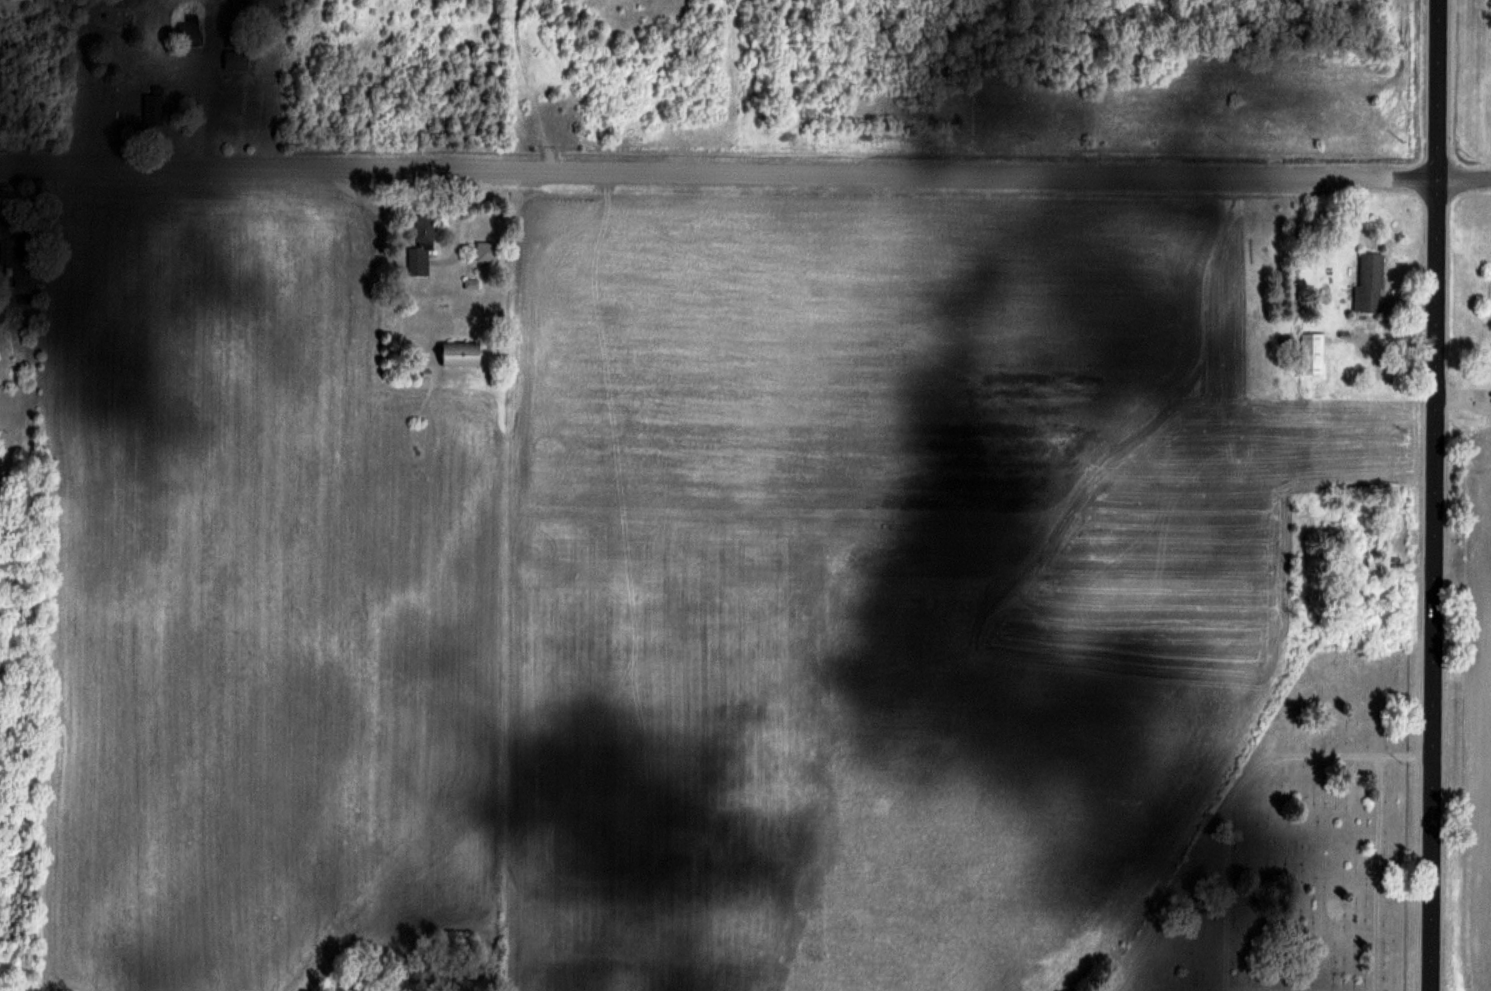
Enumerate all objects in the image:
building: (189, 31)
building: (235, 60)
road: (1438, 89)
building: (153, 109)
road: (745, 171)
building: (420, 247)
building: (487, 250)
building: (14, 255)
building: (1369, 283)
building: (1312, 352)
building: (458, 353)
building: (1376, 567)
road: (1433, 584)
building: (1369, 603)
park: (1291, 845)

